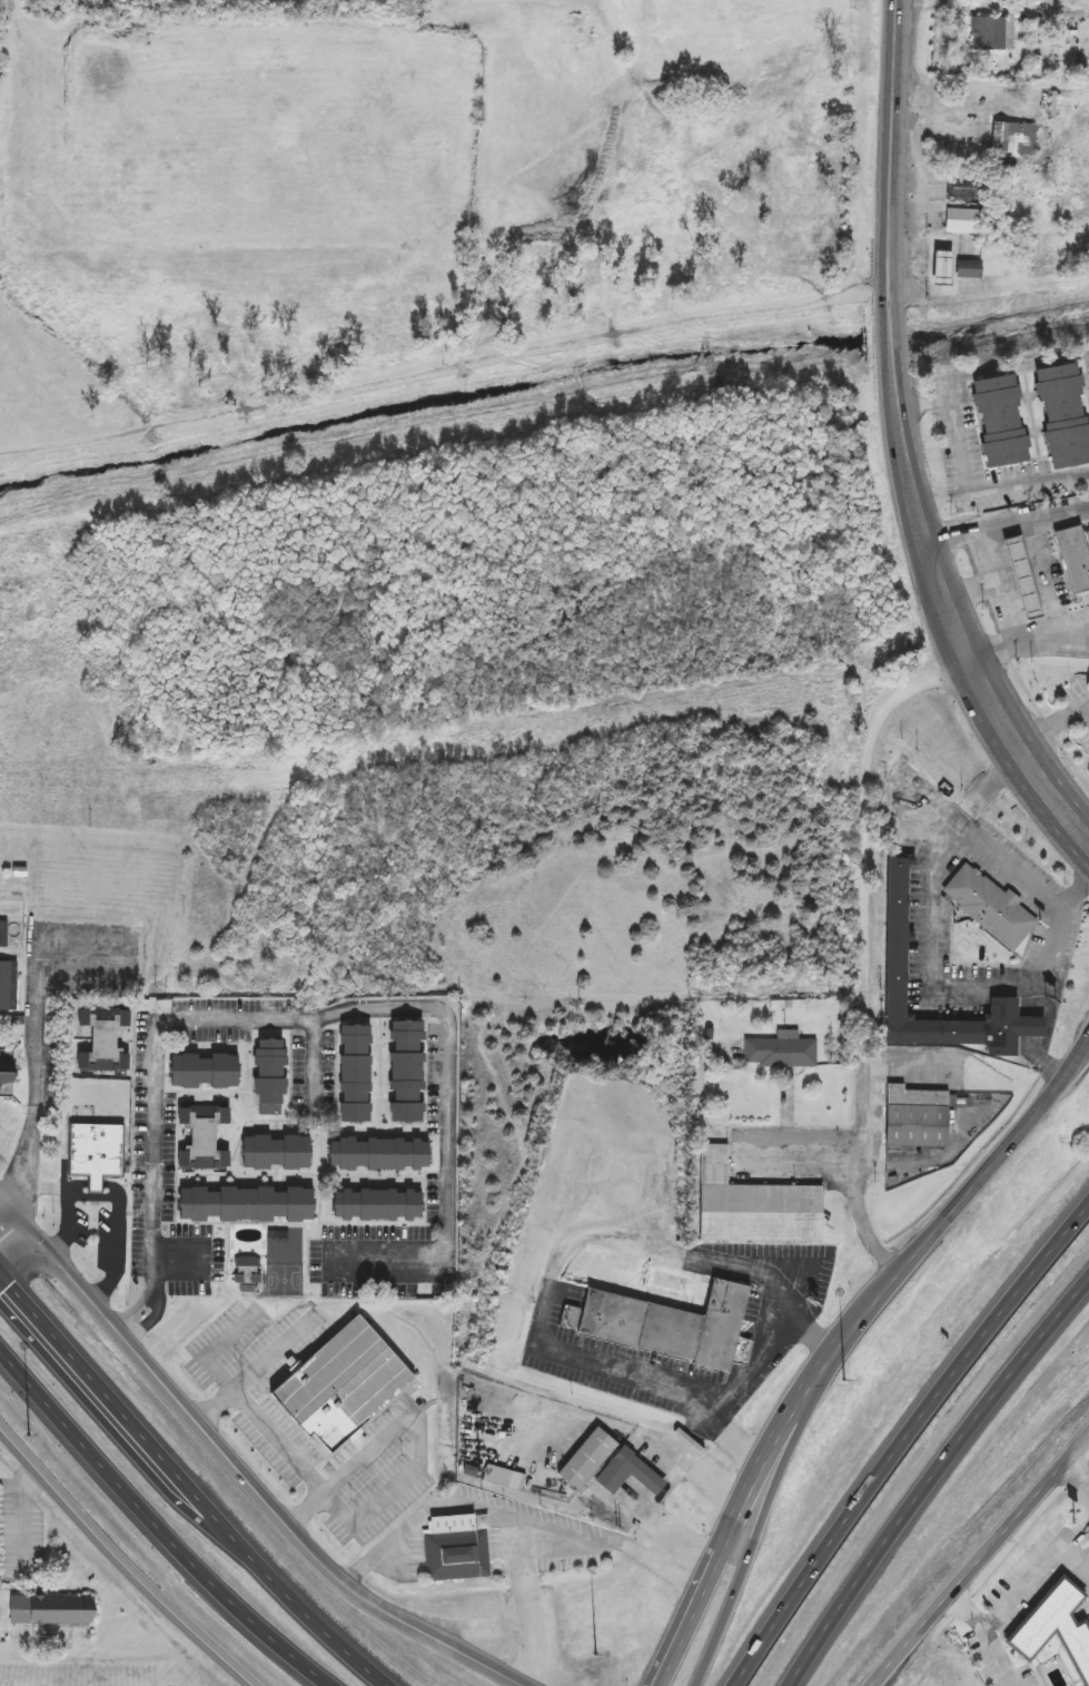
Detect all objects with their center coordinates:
building: (257, 0)
road: (1013, 7)
building: (987, 34)
building: (1014, 140)
road: (893, 147)
building: (966, 188)
building: (964, 221)
building: (939, 268)
building: (966, 270)
park: (461, 280)
road: (890, 347)
road: (1012, 366)
building: (1060, 416)
road: (956, 418)
building: (997, 421)
road: (456, 436)
road: (1002, 487)
road: (1007, 522)
road: (923, 529)
building: (1073, 559)
gas station: (1020, 579)
building: (1020, 580)
road: (967, 586)
road: (993, 586)
road: (1028, 642)
road: (981, 684)
road: (1087, 704)
road: (1087, 709)
road: (1052, 728)
road: (1039, 781)
road: (865, 848)
road: (1077, 891)
building: (989, 907)
building: (893, 927)
building: (3, 934)
parking lot: (73, 974)
road: (961, 985)
building: (8, 987)
road: (383, 1008)
road: (1050, 1024)
building: (100, 1038)
road: (1086, 1045)
building: (780, 1053)
road: (316, 1059)
building: (202, 1071)
building: (403, 1071)
building: (353, 1074)
building: (267, 1076)
building: (4, 1077)
road: (38, 1081)
building: (913, 1117)
road: (796, 1134)
building: (201, 1135)
building: (92, 1152)
building: (274, 1152)
building: (376, 1153)
road: (815, 1165)
road: (868, 1186)
road: (121, 1201)
building: (244, 1204)
building: (374, 1204)
building: (752, 1205)
road: (17, 1210)
road: (17, 1243)
road: (156, 1261)
road: (557, 1263)
road: (137, 1310)
road: (152, 1321)
building: (670, 1325)
road: (841, 1341)
road: (758, 1363)
road: (256, 1373)
building: (339, 1386)
street lamp: (843, 1387)
street lamp: (28, 1434)
road: (907, 1442)
building: (584, 1458)
road: (1081, 1462)
building: (626, 1473)
building: (503, 1477)
road: (930, 1478)
road: (190, 1483)
road: (257, 1485)
road: (663, 1492)
road: (749, 1510)
road: (367, 1514)
road: (518, 1517)
road: (157, 1520)
building: (456, 1548)
road: (744, 1555)
road: (978, 1558)
road: (123, 1559)
road: (1078, 1562)
road: (1037, 1575)
road: (531, 1604)
building: (41, 1609)
building: (1053, 1629)
road: (990, 1633)
street lamp: (597, 1654)

